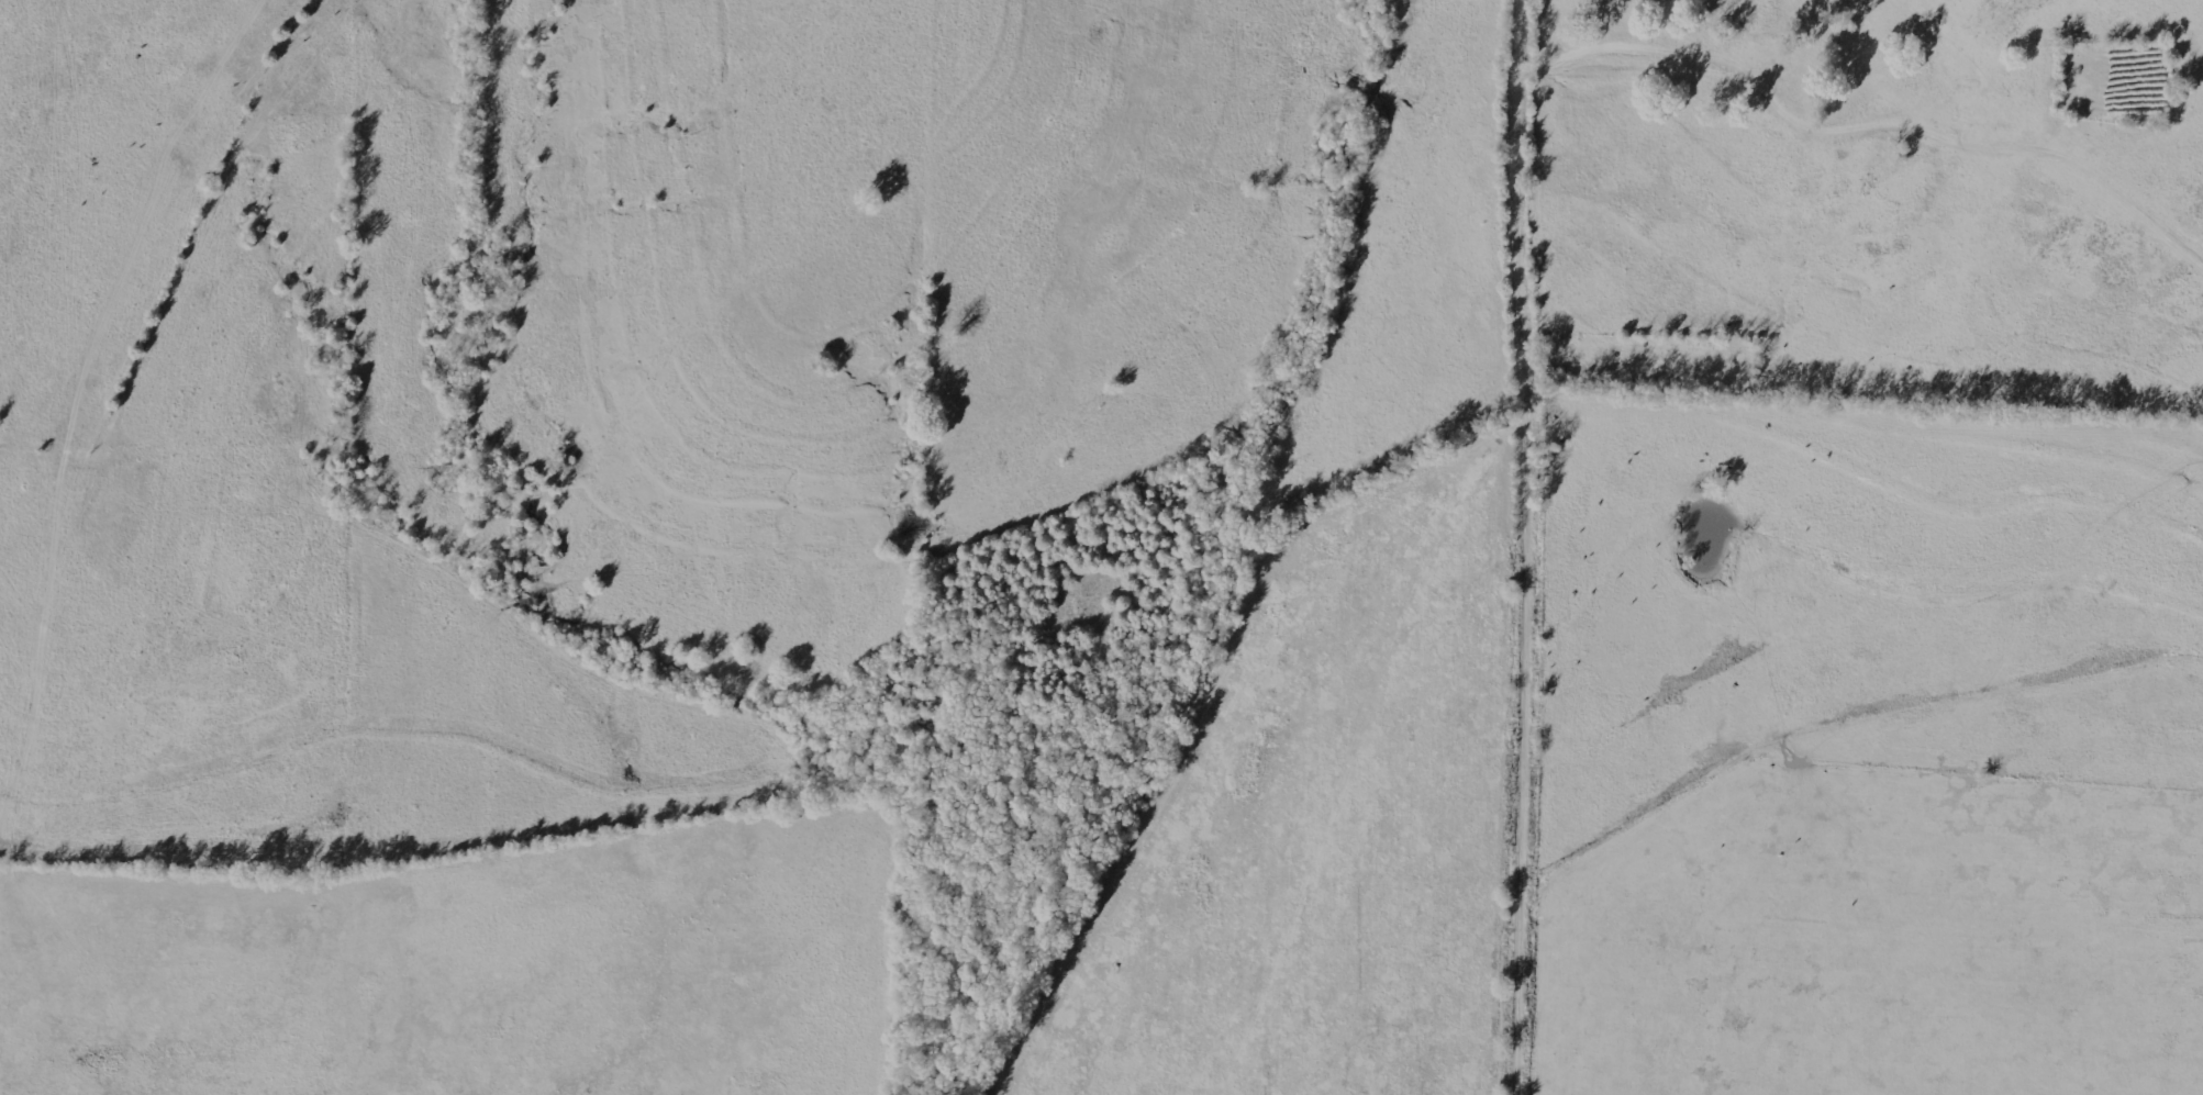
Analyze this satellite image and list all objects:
road: (1872, 148)
road: (1533, 547)

